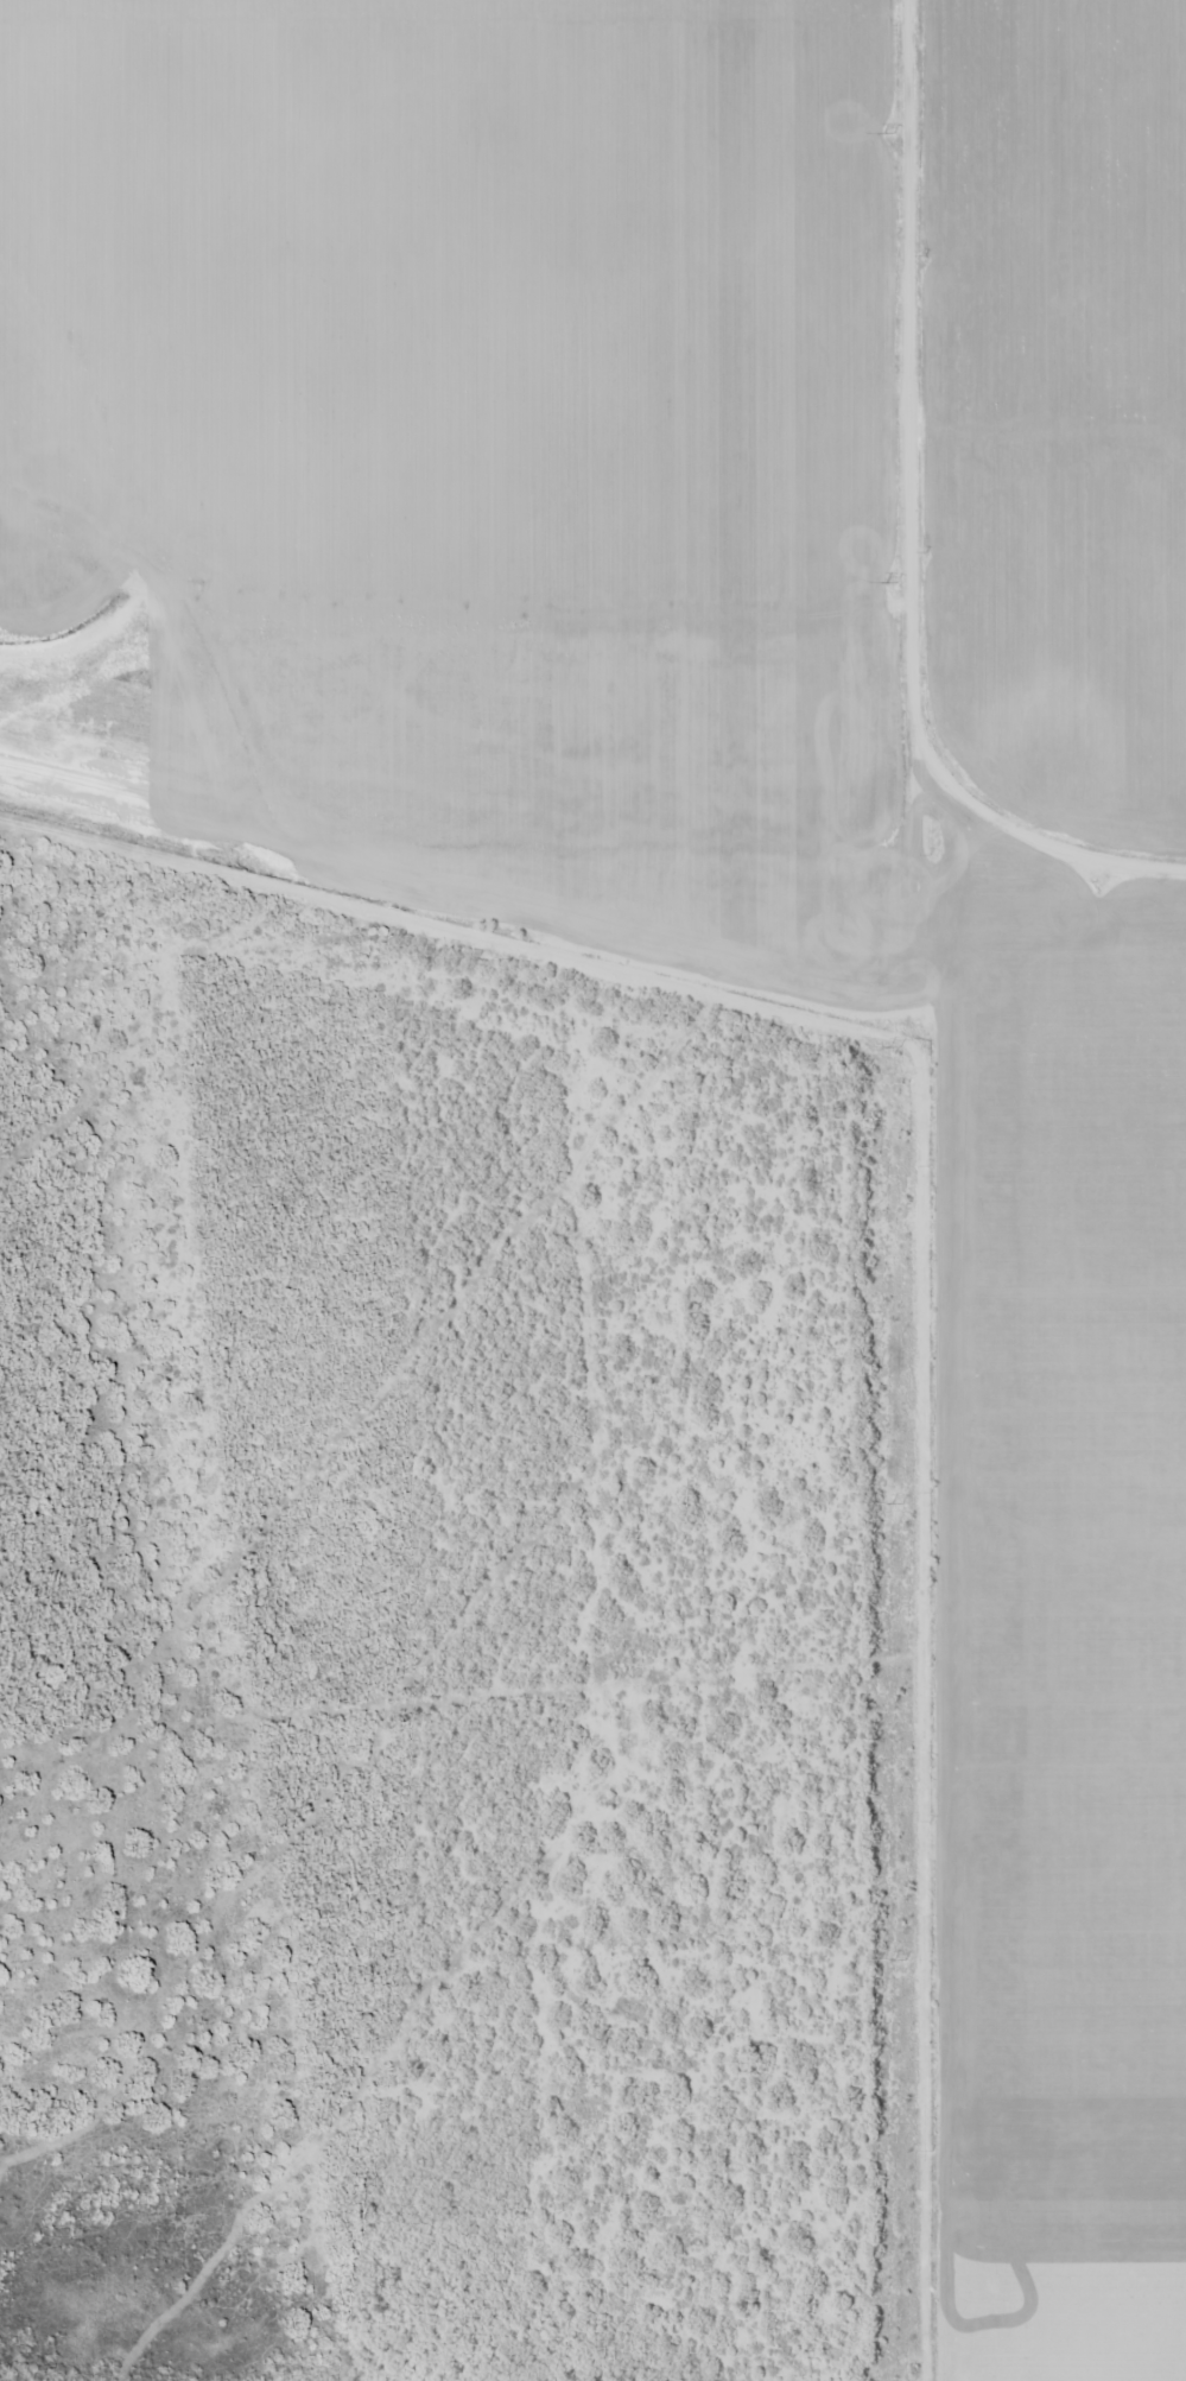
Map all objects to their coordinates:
power tower: (890, 133)
power tower: (892, 582)
road: (468, 899)
power tower: (898, 1047)
road: (909, 1191)
power tower: (901, 1502)
power tower: (902, 1959)

